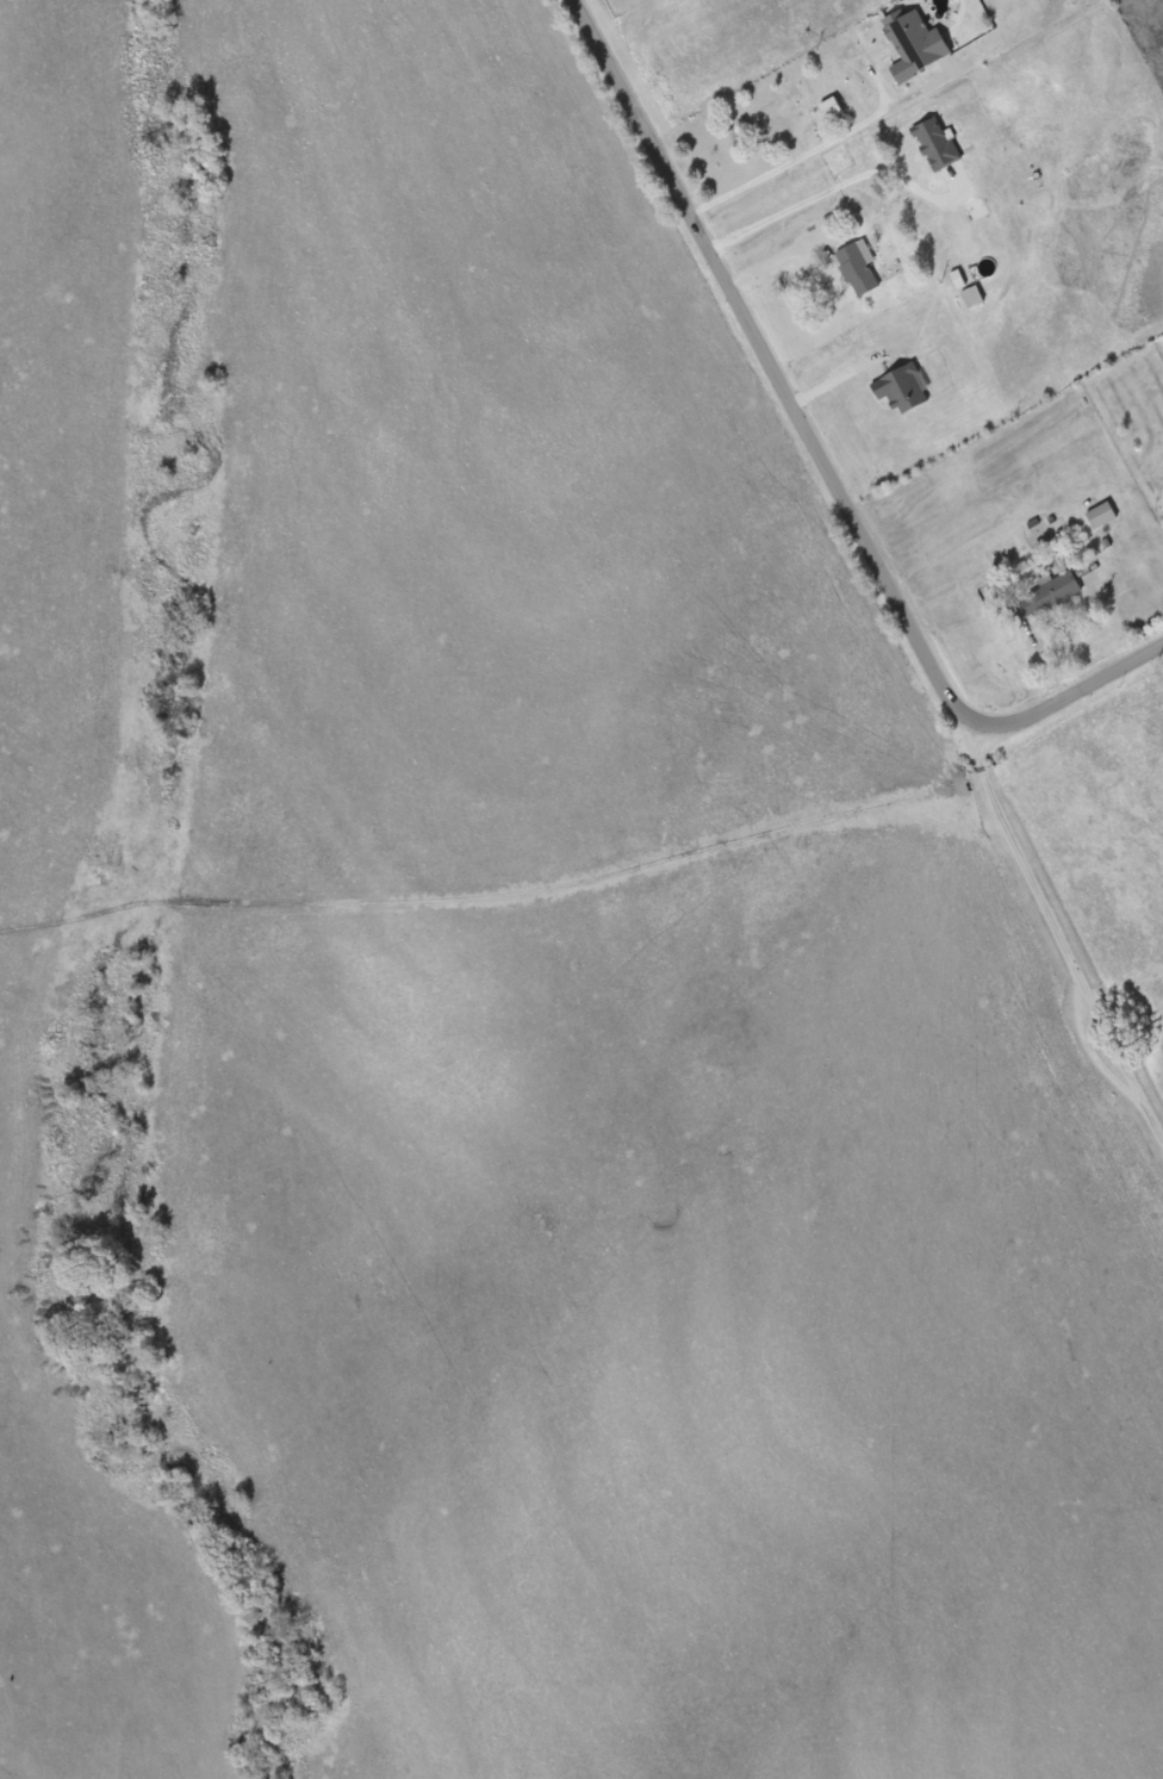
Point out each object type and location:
building: (832, 106)
building: (772, 118)
building: (925, 133)
road: (789, 162)
road: (816, 197)
building: (856, 268)
road: (776, 373)
building: (1101, 514)
building: (1047, 593)
road: (1072, 695)
road: (1063, 947)

